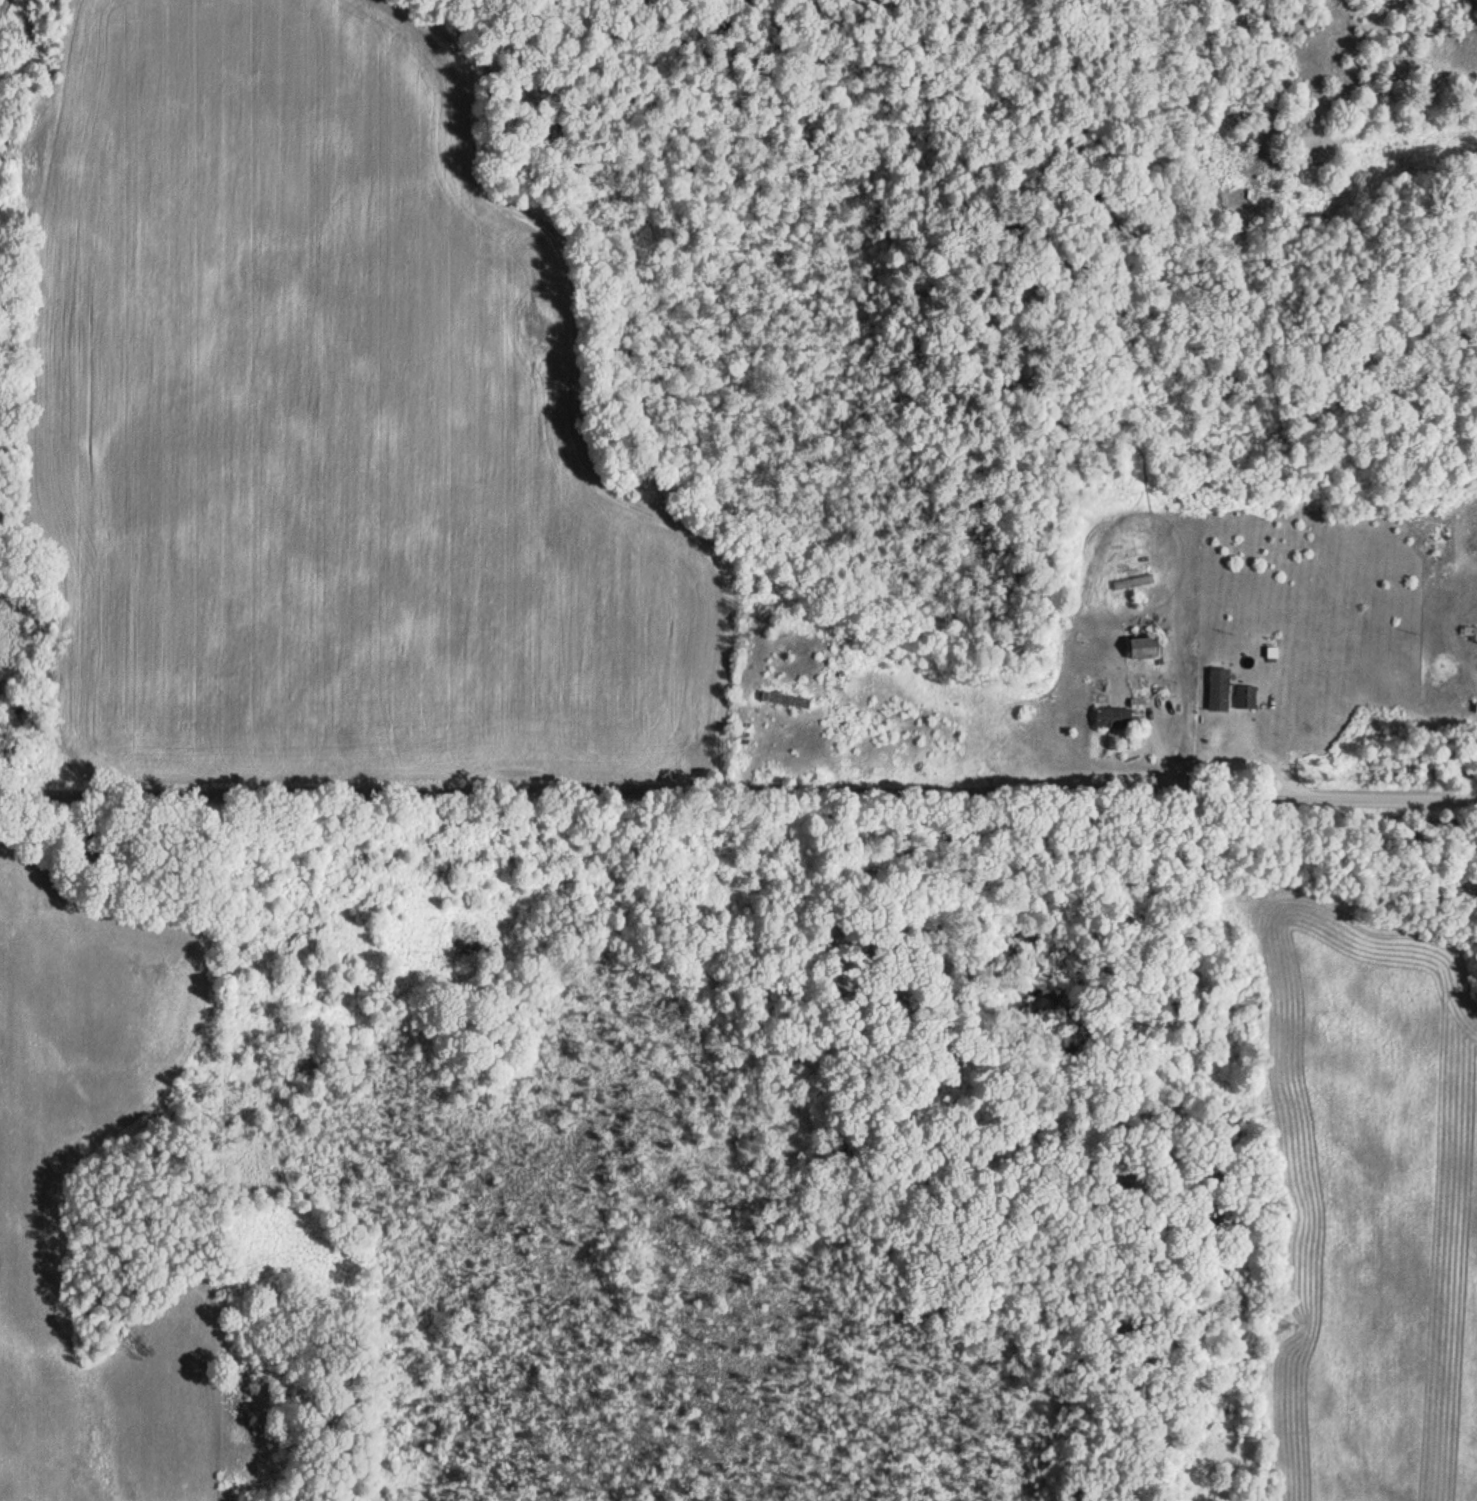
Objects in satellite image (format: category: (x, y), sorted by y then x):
crop: (328, 419)
building: (1472, 633)
building: (1149, 649)
building: (1222, 690)
building: (1249, 697)
building: (790, 700)
building: (1476, 711)
building: (1116, 718)
road: (738, 791)
crop: (30, 1216)

